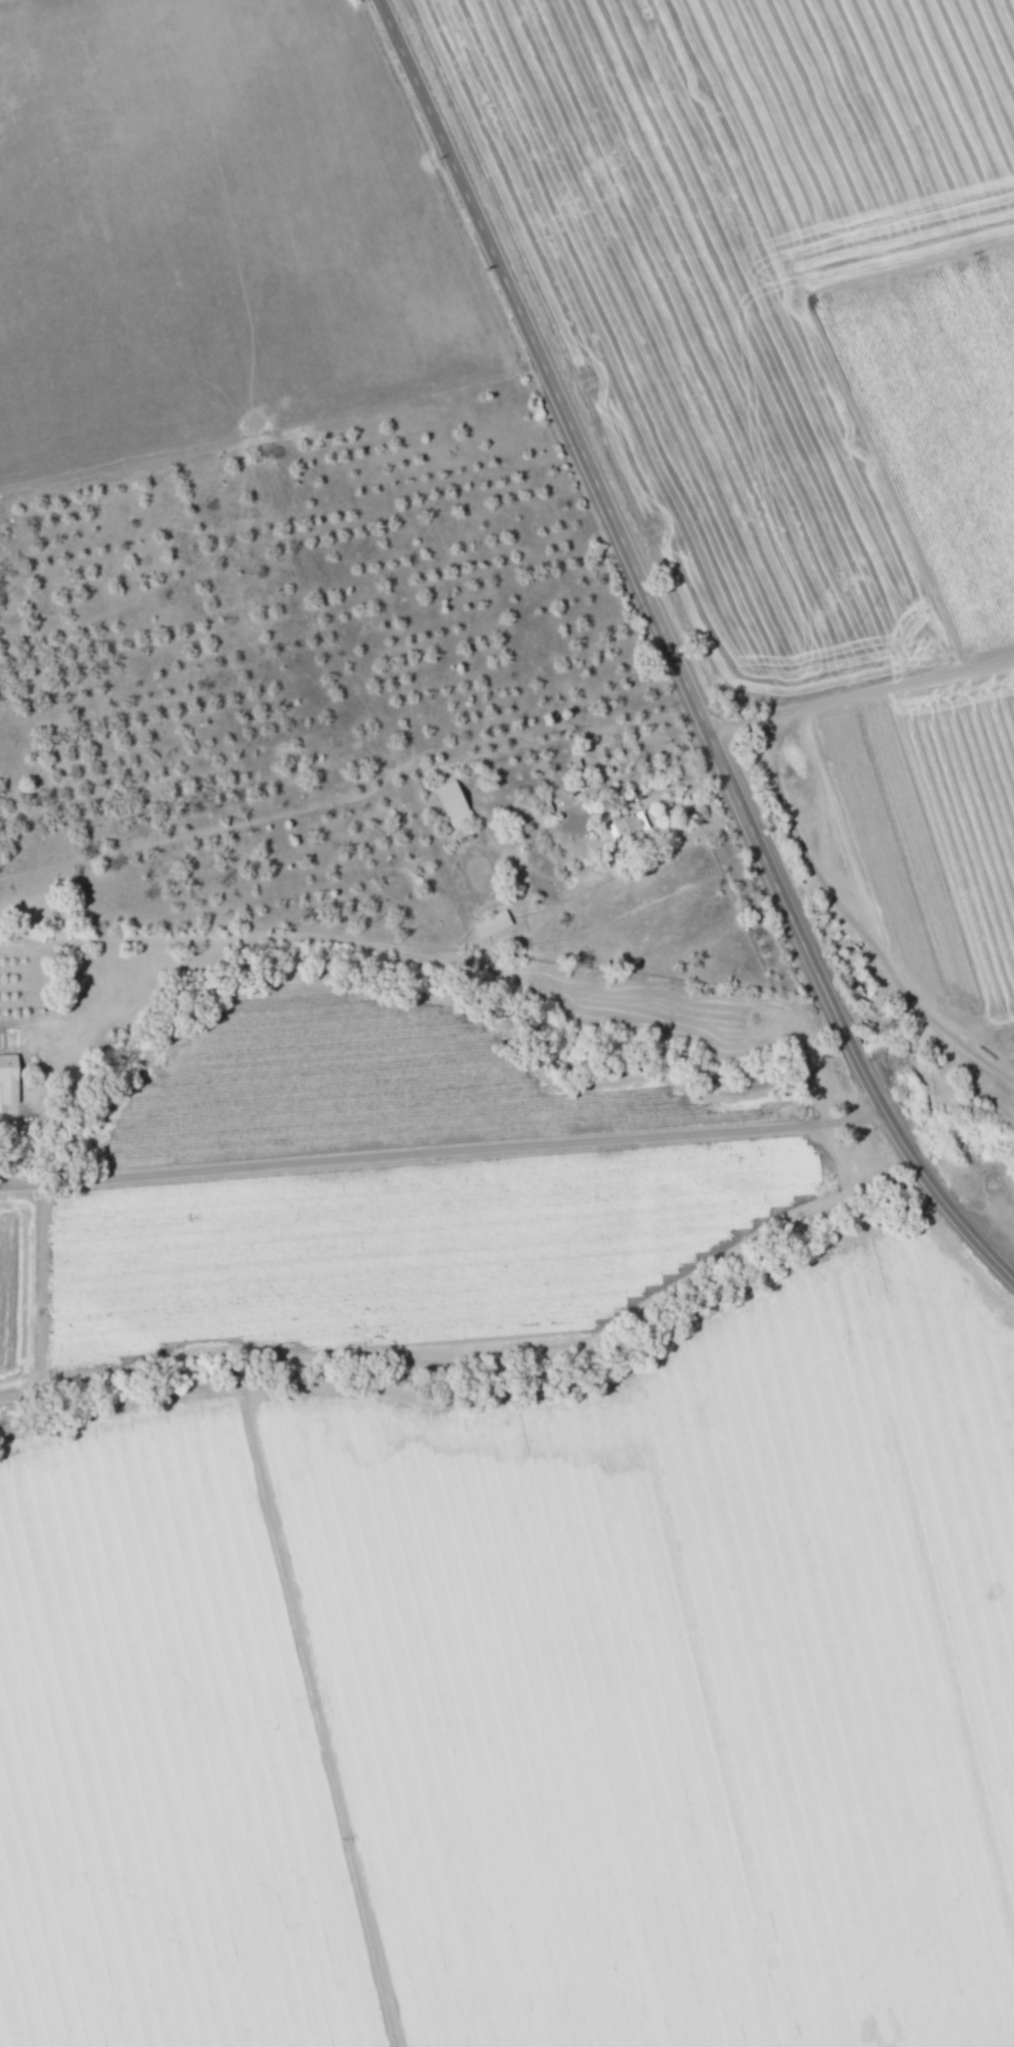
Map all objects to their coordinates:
road: (611, 500)
road: (864, 694)
building: (455, 802)
road: (618, 804)
building: (622, 831)
road: (850, 922)
building: (492, 923)
road: (842, 1030)
building: (10, 1077)
road: (875, 1097)
road: (443, 1151)
road: (917, 1164)
road: (975, 1233)

